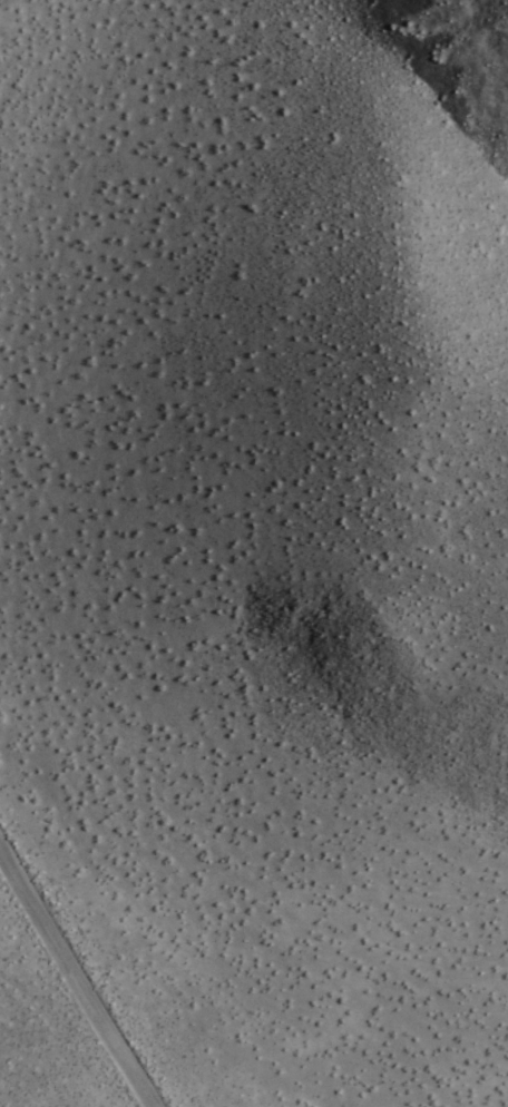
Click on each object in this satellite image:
road: (61, 1005)

